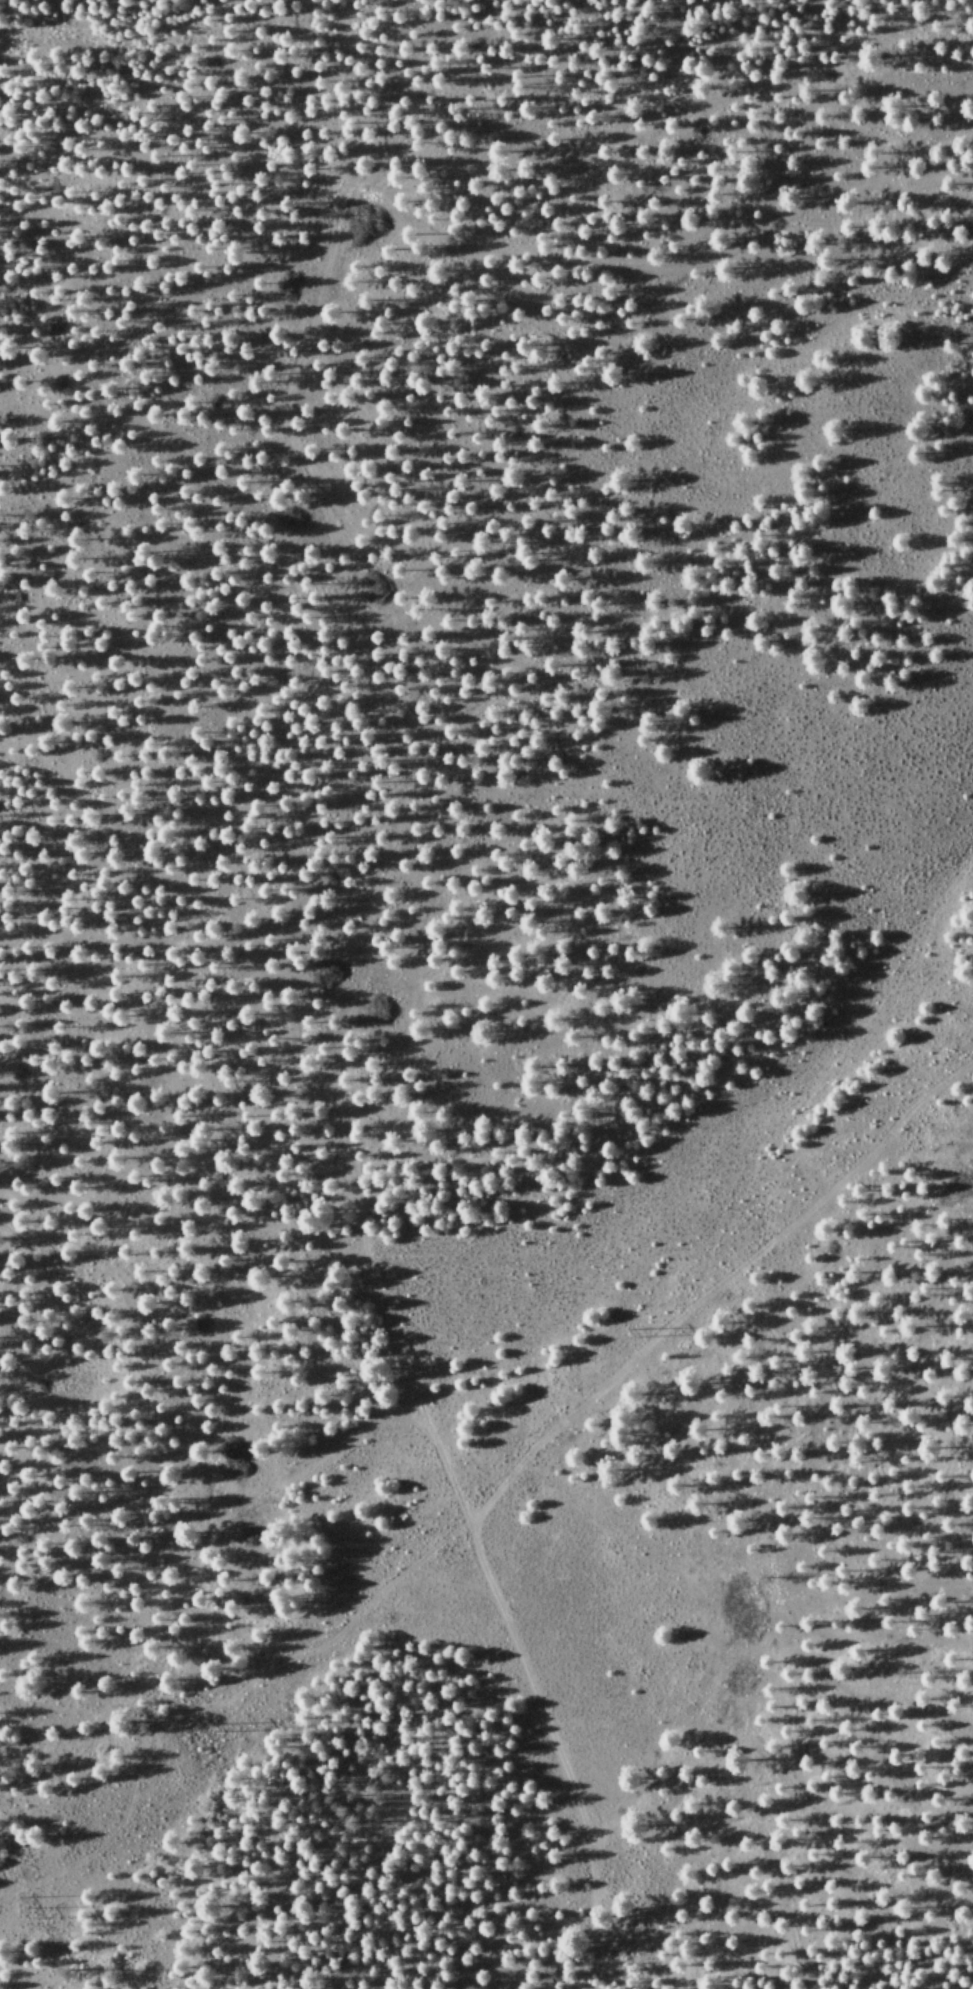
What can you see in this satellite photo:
power tower: (645, 1337)
power tower: (221, 1735)
power tower: (32, 1908)

